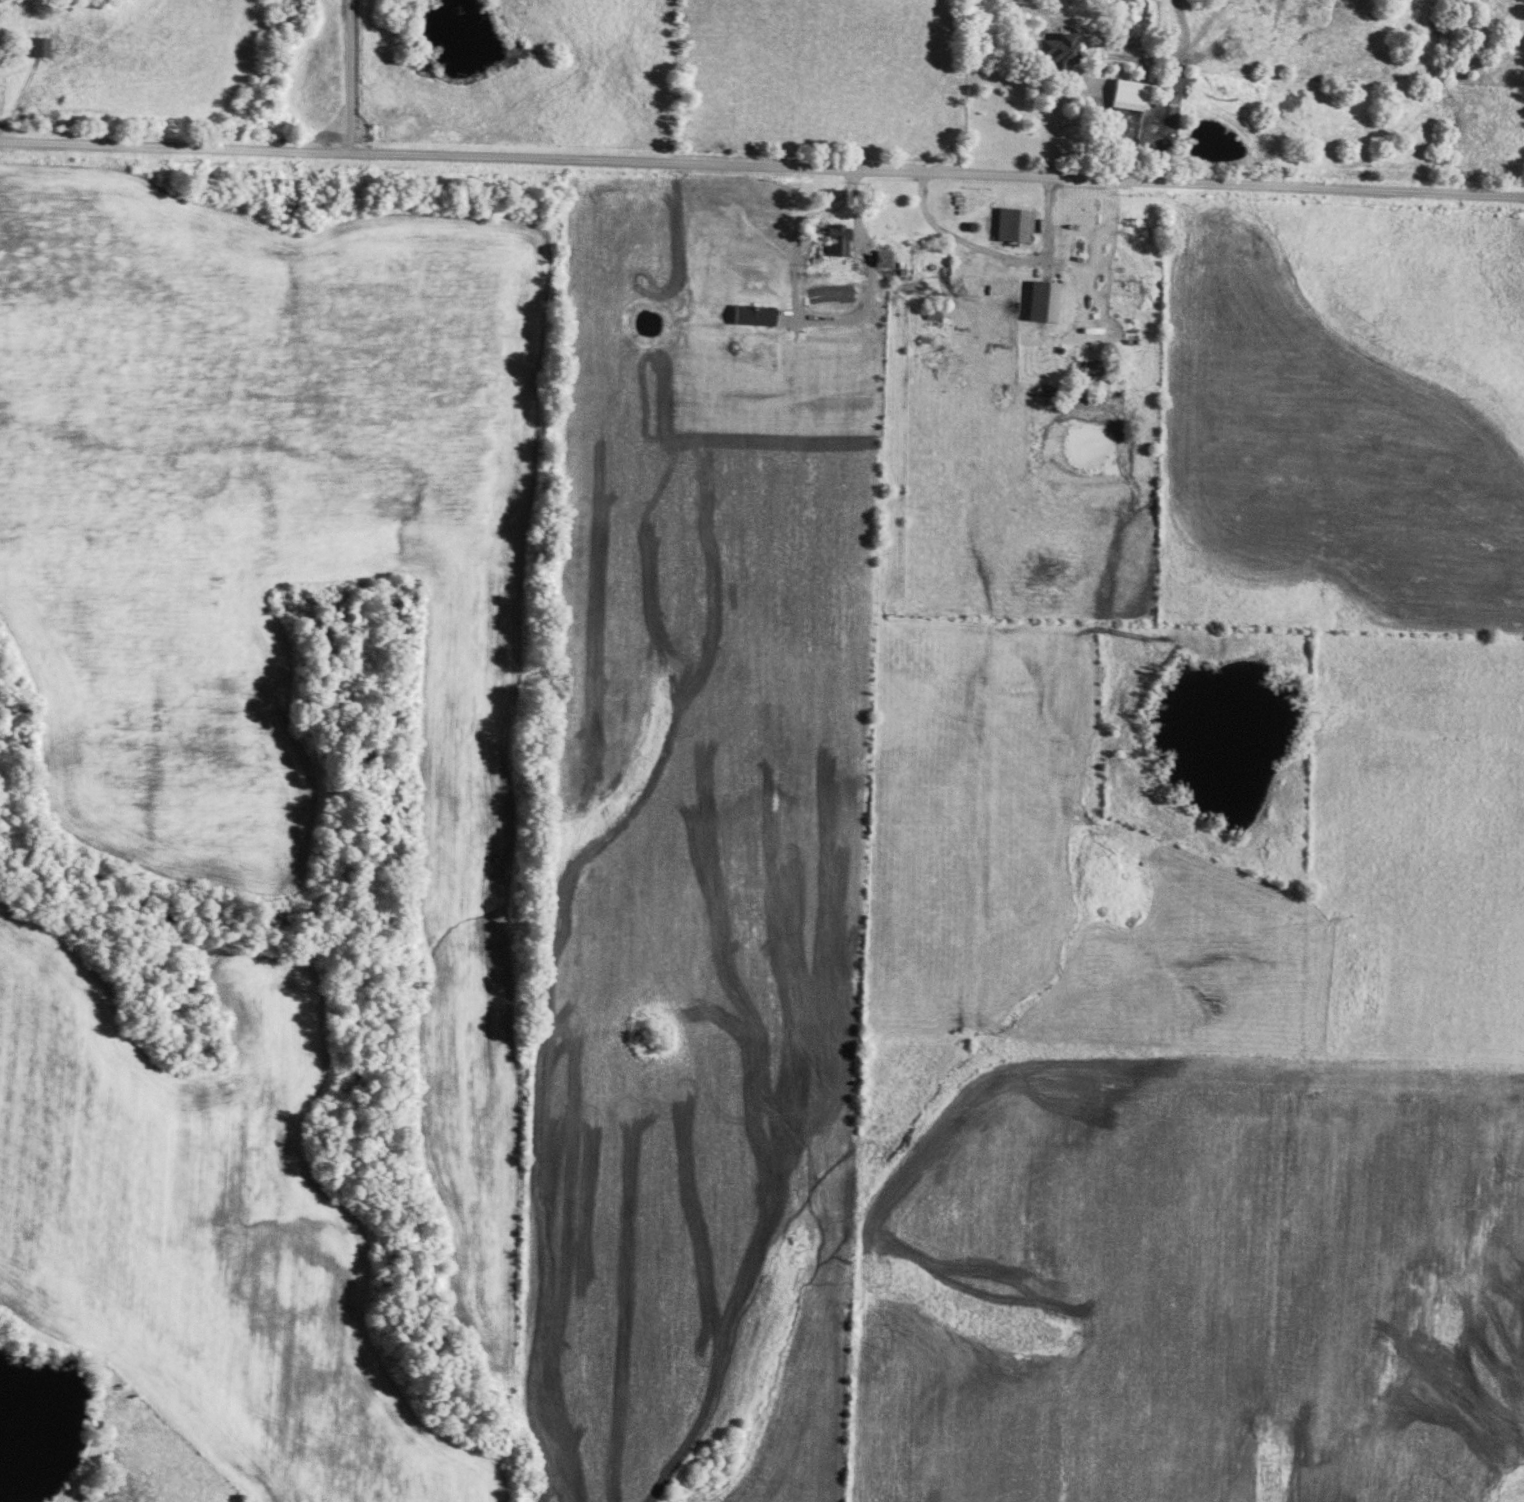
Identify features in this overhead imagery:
building: (39, 47)
building: (1062, 50)
road: (353, 76)
building: (1132, 95)
road: (1057, 108)
road: (762, 164)
building: (1016, 225)
building: (835, 240)
road: (991, 251)
building: (1044, 300)
building: (933, 312)

